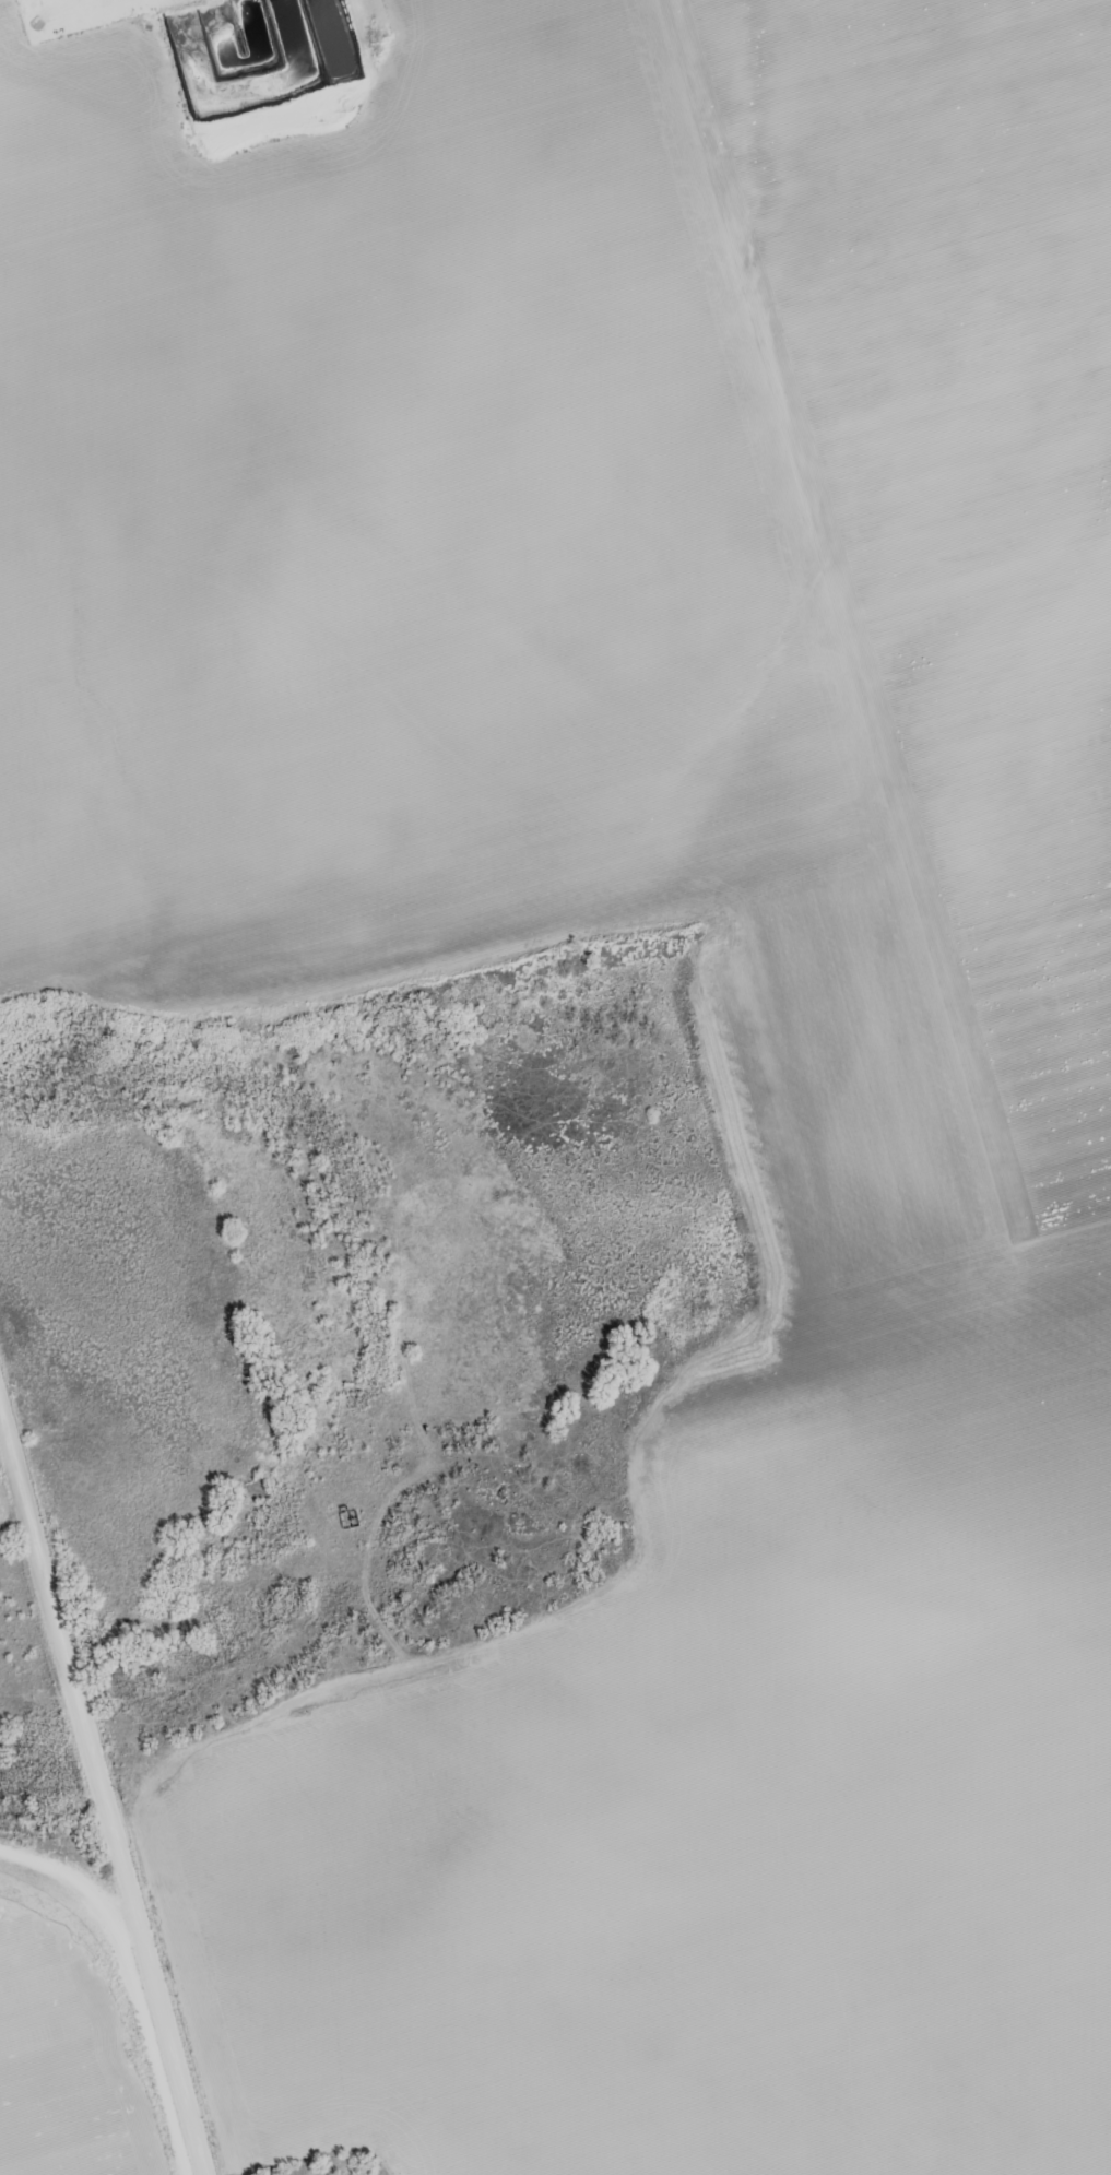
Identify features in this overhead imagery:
road: (98, 1823)

